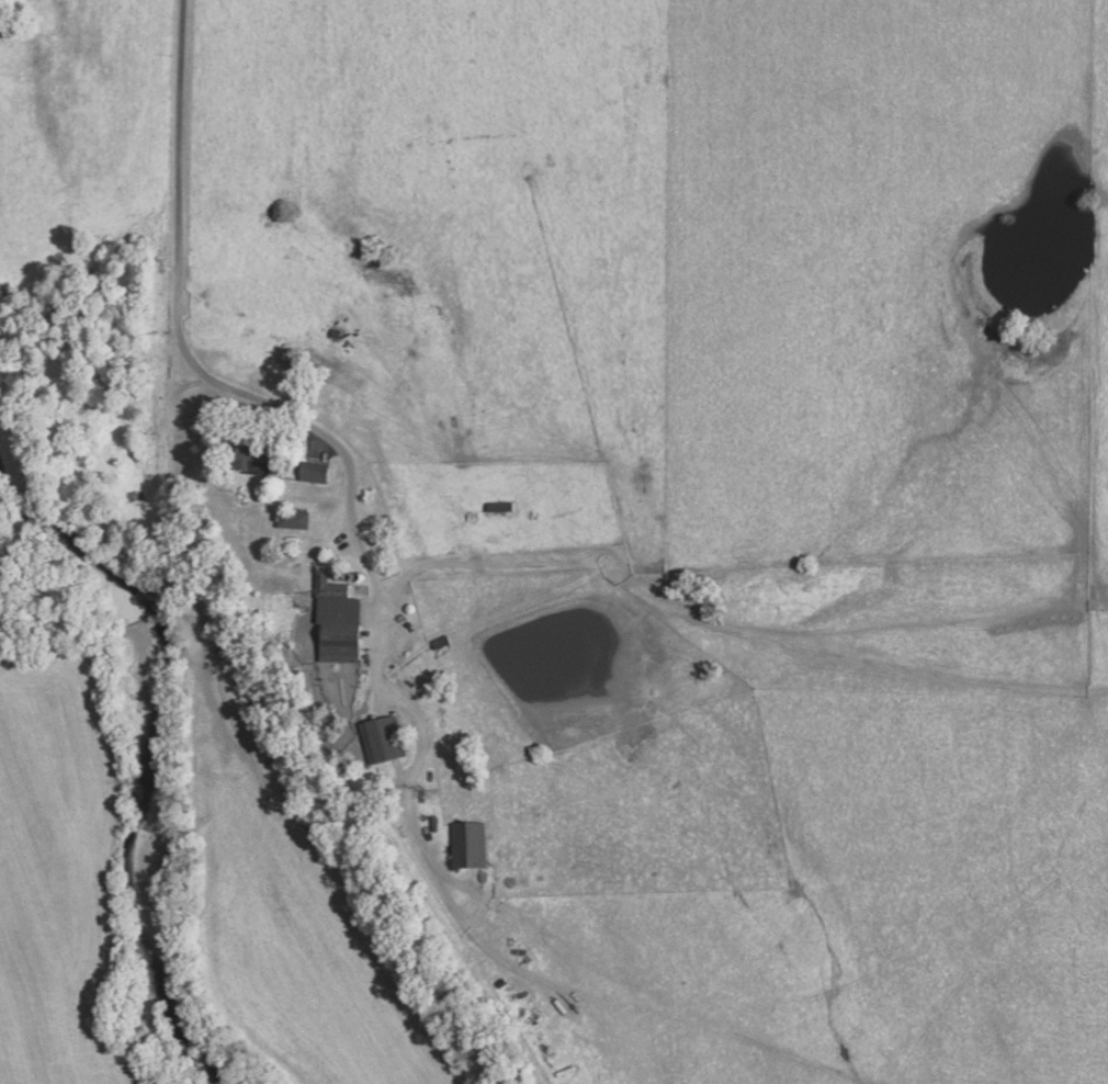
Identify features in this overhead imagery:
road: (177, 315)
building: (257, 456)
building: (316, 471)
building: (294, 518)
building: (339, 620)
building: (384, 738)
building: (470, 844)

